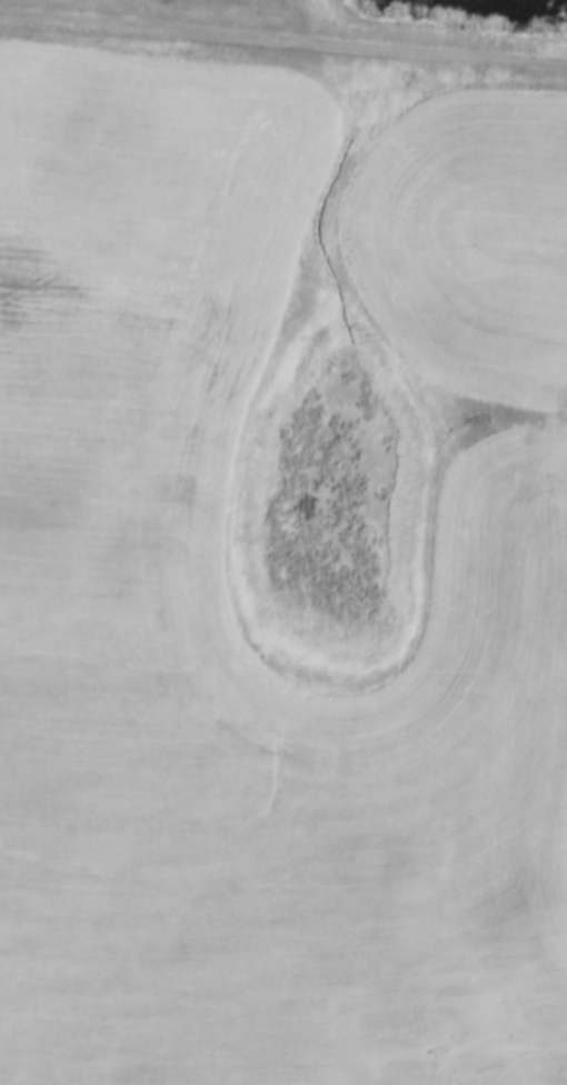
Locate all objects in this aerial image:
road: (283, 34)

